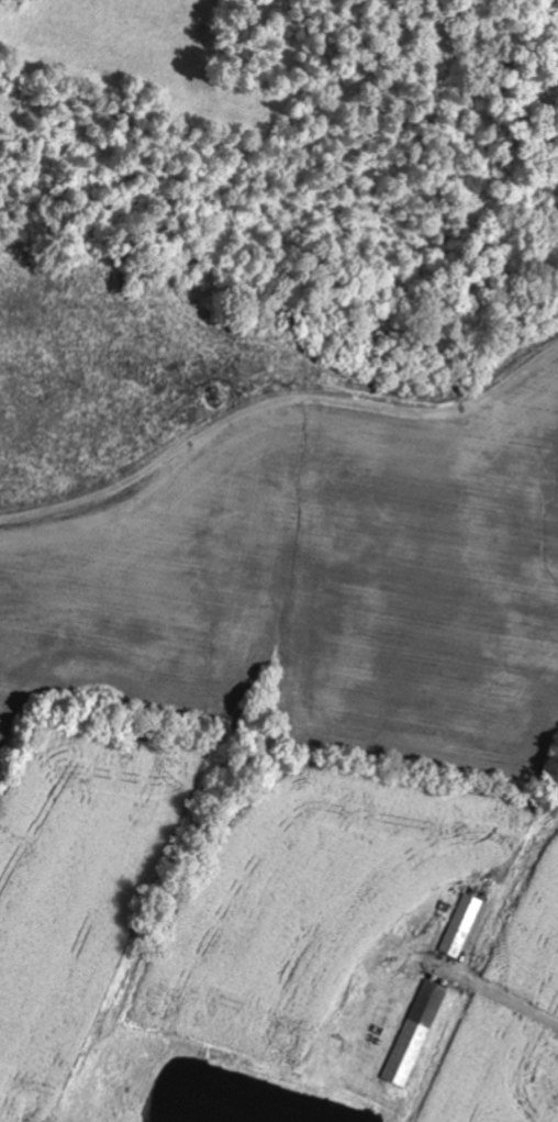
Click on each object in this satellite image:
building: (458, 926)
road: (495, 995)
building: (412, 1035)

